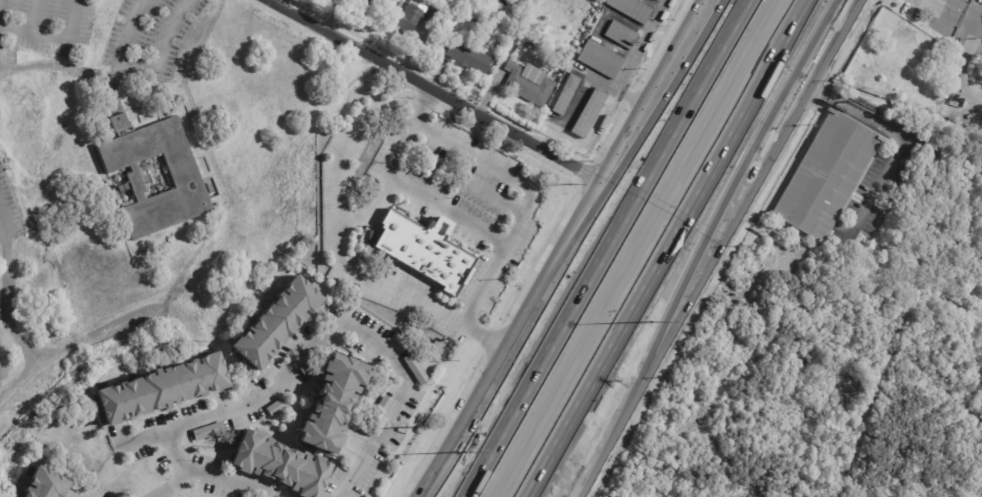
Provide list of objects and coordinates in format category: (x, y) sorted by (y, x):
building: (657, 0)
building: (370, 5)
road: (963, 7)
building: (632, 10)
building: (495, 15)
road: (32, 16)
building: (413, 18)
building: (572, 18)
building: (436, 19)
building: (584, 24)
road: (14, 28)
road: (64, 33)
building: (622, 36)
road: (161, 47)
building: (470, 56)
road: (978, 57)
building: (602, 60)
road: (969, 71)
road: (99, 75)
building: (531, 87)
road: (434, 89)
building: (947, 94)
building: (567, 96)
building: (610, 109)
building: (590, 113)
road: (639, 113)
road: (650, 114)
road: (348, 138)
road: (899, 146)
building: (826, 177)
building: (188, 178)
power tower: (572, 185)
road: (495, 195)
road: (725, 200)
road: (521, 214)
road: (720, 247)
road: (337, 248)
road: (606, 248)
road: (668, 248)
building: (423, 250)
road: (484, 286)
road: (9, 319)
building: (276, 322)
road: (88, 336)
road: (495, 361)
building: (414, 369)
building: (161, 389)
road: (235, 401)
building: (332, 403)
power tower: (415, 428)
building: (204, 432)
road: (374, 441)
building: (280, 465)
building: (44, 484)
road: (168, 486)

